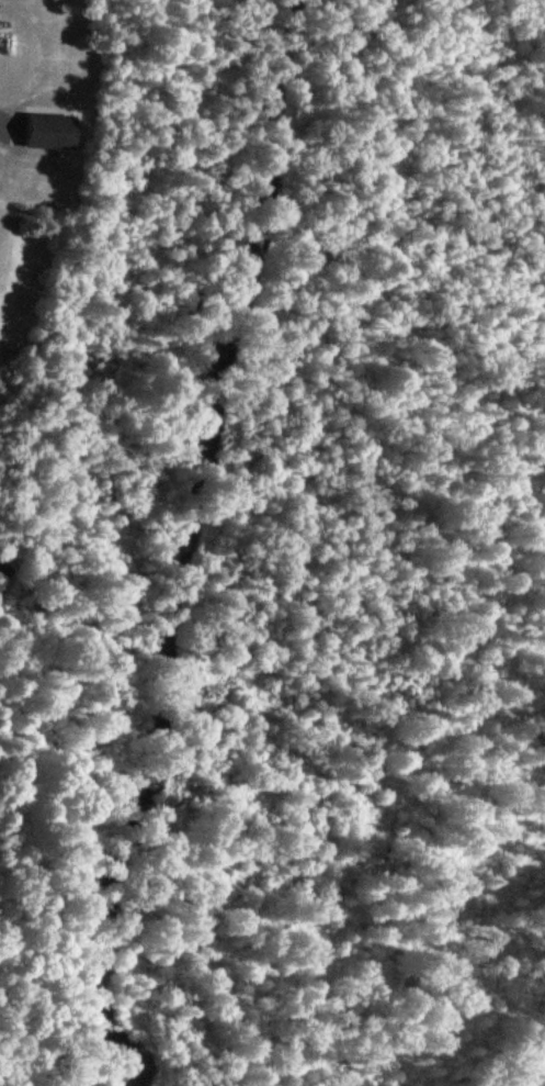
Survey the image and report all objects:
building: (43, 128)
building: (2, 570)

